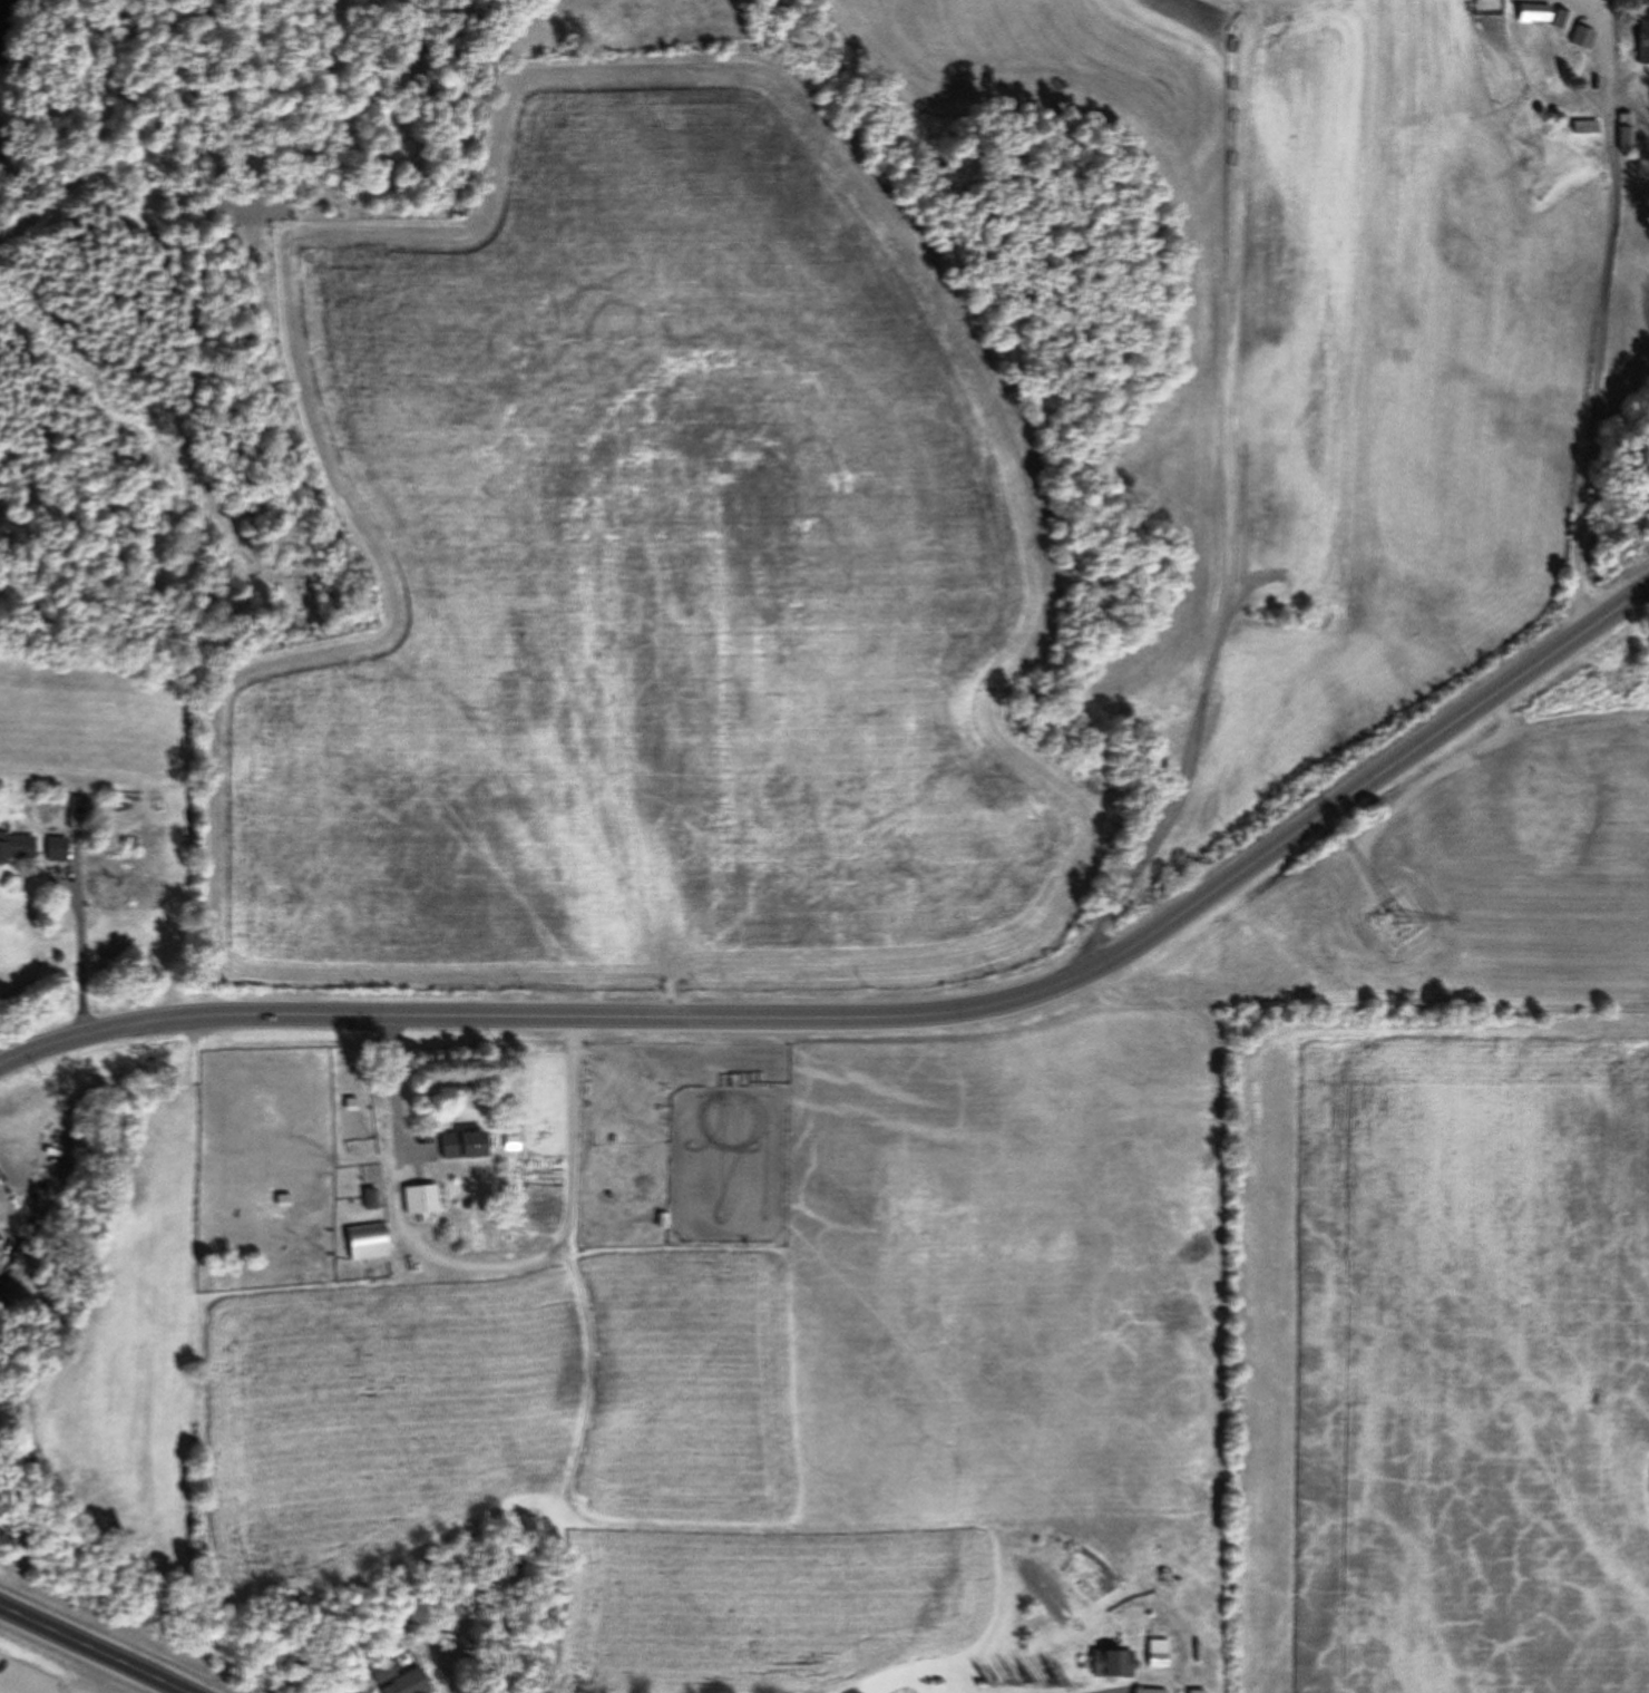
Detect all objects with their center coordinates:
building: (1533, 12)
building: (1561, 19)
building: (1582, 37)
building: (1642, 40)
building: (1584, 126)
building: (1624, 133)
building: (16, 848)
building: (55, 848)
road: (81, 953)
road: (882, 1018)
building: (461, 1145)
building: (369, 1198)
building: (419, 1199)
building: (365, 1240)
building: (0, 1252)
road: (484, 1264)
building: (1094, 1586)
road: (95, 1647)
building: (1157, 1658)
building: (1102, 1662)
building: (1124, 1662)
building: (407, 1683)
building: (1149, 1691)

